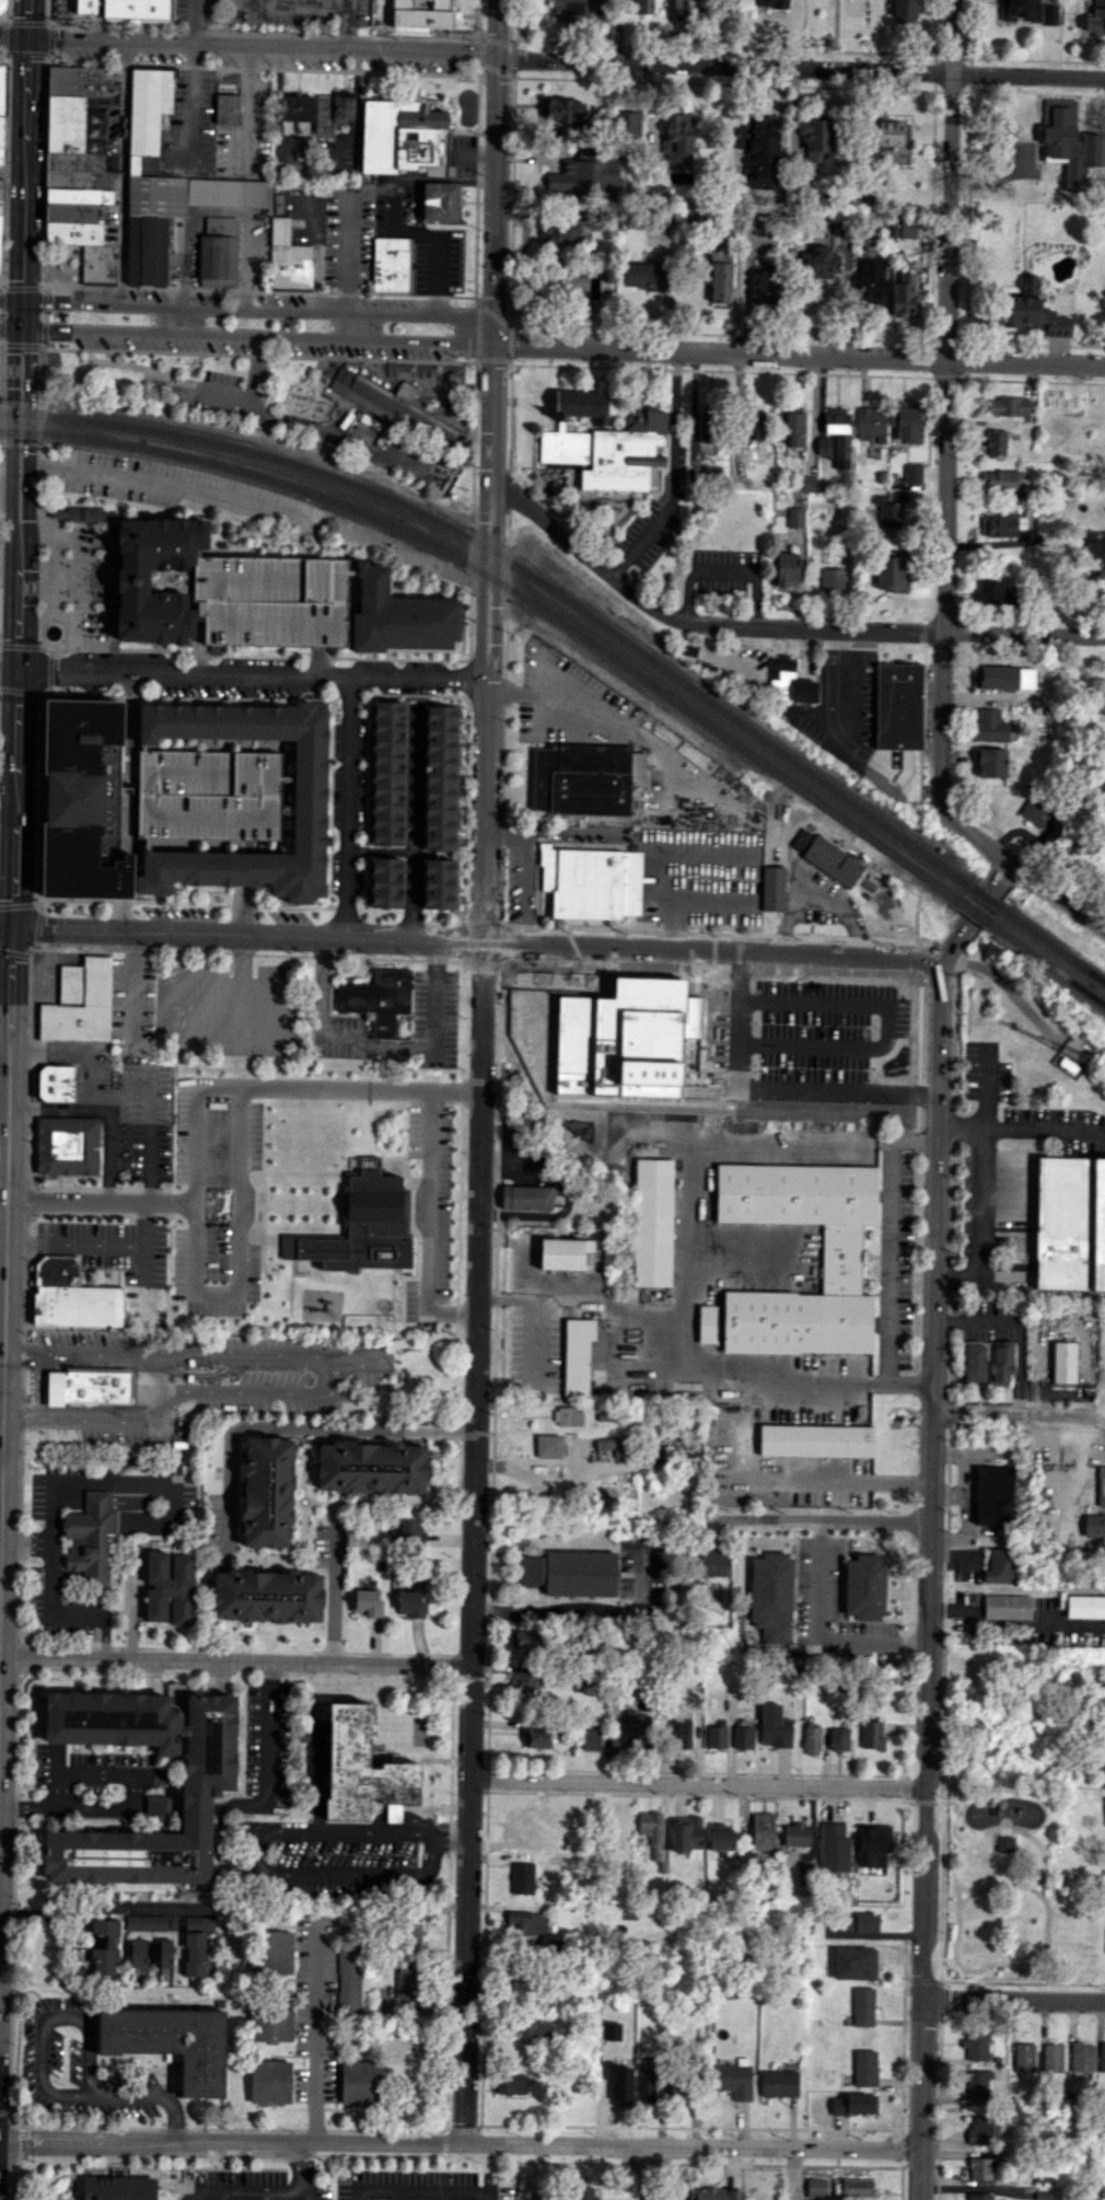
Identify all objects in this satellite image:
building: (766, 2)
building: (86, 7)
building: (640, 7)
building: (578, 8)
building: (138, 9)
building: (685, 9)
building: (2, 10)
parking lot: (278, 11)
building: (904, 11)
building: (1027, 11)
road: (9, 13)
building: (426, 14)
building: (1094, 20)
road: (194, 23)
road: (3, 24)
road: (345, 26)
road: (9, 37)
road: (13, 39)
traffic signals: (27, 40)
road: (9, 53)
road: (27, 53)
road: (3, 60)
road: (566, 60)
road: (372, 71)
building: (80, 80)
building: (1, 86)
road: (187, 105)
building: (342, 105)
building: (226, 107)
road: (245, 107)
building: (296, 107)
building: (146, 109)
building: (562, 111)
building: (323, 117)
building: (627, 121)
building: (75, 125)
parking lot: (185, 128)
building: (1, 130)
building: (893, 132)
parking lot: (246, 134)
building: (1057, 135)
building: (399, 136)
building: (678, 137)
building: (816, 139)
road: (24, 150)
building: (1, 154)
parking lot: (463, 154)
building: (760, 159)
building: (75, 162)
road: (5, 166)
road: (44, 167)
road: (497, 170)
road: (121, 174)
building: (584, 177)
building: (69, 178)
road: (952, 180)
building: (1, 188)
building: (74, 195)
building: (441, 200)
building: (1, 206)
road: (218, 209)
building: (71, 212)
building: (0, 222)
building: (761, 224)
building: (73, 233)
building: (563, 233)
building: (147, 250)
building: (220, 252)
building: (289, 258)
parking lot: (435, 258)
building: (98, 263)
building: (819, 263)
road: (61, 264)
building: (392, 264)
park: (60, 265)
road: (63, 266)
flagpole: (46, 267)
building: (642, 276)
building: (720, 277)
building: (870, 278)
road: (1, 279)
building: (764, 282)
building: (565, 283)
road: (22, 286)
road: (257, 290)
building: (905, 293)
road: (10, 302)
traffic signals: (22, 302)
road: (263, 309)
building: (1032, 311)
road: (4, 313)
road: (21, 316)
road: (178, 321)
building: (293, 324)
road: (357, 325)
road: (479, 327)
road: (10, 329)
traffic signals: (21, 331)
road: (39, 332)
road: (257, 335)
road: (1, 346)
road: (258, 354)
road: (799, 354)
road: (147, 366)
road: (193, 366)
road: (258, 367)
road: (2, 372)
road: (21, 372)
road: (166, 378)
road: (2, 396)
railway: (1, 404)
building: (1009, 406)
building: (403, 410)
road: (2, 413)
railway: (10, 413)
building: (907, 420)
building: (871, 422)
road: (300, 425)
parking lot: (311, 426)
building: (753, 427)
building: (792, 427)
building: (705, 429)
railway: (10, 430)
building: (838, 433)
road: (20, 440)
building: (604, 440)
building: (995, 442)
road: (492, 445)
building: (823, 445)
railway: (264, 453)
building: (911, 472)
road: (673, 474)
building: (1001, 479)
road: (161, 485)
parking lot: (179, 488)
road: (38, 505)
building: (886, 511)
building: (83, 513)
building: (794, 517)
building: (999, 525)
road: (586, 557)
road: (729, 566)
building: (787, 569)
building: (892, 574)
road: (77, 575)
building: (132, 580)
building: (992, 592)
road: (693, 594)
railway: (522, 595)
road: (760, 598)
building: (272, 600)
parking lot: (272, 600)
road: (0, 609)
building: (402, 618)
flagpole: (66, 624)
fountain: (53, 632)
road: (898, 632)
flagpole: (68, 633)
flagpole: (66, 640)
road: (23, 655)
road: (404, 658)
traffic signals: (18, 670)
road: (244, 673)
building: (993, 676)
road: (846, 680)
building: (789, 683)
road: (38, 688)
road: (563, 700)
building: (898, 706)
railway: (731, 717)
road: (130, 721)
building: (989, 726)
building: (990, 762)
building: (388, 773)
road: (8, 777)
building: (441, 777)
building: (586, 778)
building: (208, 795)
parking lot: (208, 795)
building: (310, 797)
road: (39, 798)
building: (78, 798)
road: (330, 806)
road: (347, 807)
building: (1035, 812)
road: (414, 825)
building: (831, 860)
building: (592, 880)
building: (386, 882)
building: (439, 885)
building: (772, 888)
railway: (985, 896)
road: (1056, 896)
railway: (973, 911)
road: (33, 925)
road: (5, 927)
traffic signals: (12, 927)
road: (475, 942)
railway: (1052, 945)
railway: (1046, 963)
building: (375, 995)
building: (80, 1003)
road: (10, 1006)
road: (4, 1043)
road: (381, 1045)
building: (56, 1082)
road: (283, 1089)
road: (775, 1090)
road: (113, 1095)
parking lot: (118, 1107)
building: (592, 1109)
road: (3, 1111)
road: (937, 1125)
road: (1016, 1128)
road: (32, 1132)
building: (67, 1145)
road: (109, 1148)
road: (690, 1151)
road: (78, 1174)
road: (987, 1184)
parking lot: (216, 1196)
building: (526, 1196)
road: (100, 1200)
parking lot: (429, 1206)
building: (652, 1221)
road: (144, 1224)
building: (1071, 1224)
building: (360, 1226)
road: (424, 1226)
road: (504, 1237)
road: (893, 1240)
road: (74, 1243)
building: (565, 1251)
road: (236, 1252)
road: (2, 1254)
building: (845, 1255)
parking lot: (117, 1258)
building: (57, 1270)
road: (144, 1278)
building: (181, 1281)
building: (251, 1289)
building: (78, 1306)
building: (201, 1307)
building: (229, 1308)
road: (628, 1320)
road: (538, 1345)
road: (477, 1346)
building: (577, 1356)
building: (974, 1362)
building: (1001, 1362)
building: (1062, 1363)
road: (335, 1375)
road: (912, 1383)
building: (88, 1386)
road: (1019, 1414)
building: (568, 1415)
road: (338, 1428)
road: (457, 1431)
building: (816, 1438)
building: (613, 1445)
building: (548, 1446)
road: (743, 1448)
road: (0, 1467)
building: (371, 1467)
road: (57, 1485)
building: (1101, 1485)
building: (268, 1491)
building: (993, 1494)
road: (824, 1520)
building: (1094, 1525)
building: (412, 1532)
building: (91, 1538)
building: (711, 1564)
building: (1000, 1565)
building: (571, 1572)
building: (170, 1587)
building: (864, 1587)
building: (267, 1596)
road: (334, 1596)
building: (771, 1596)
building: (368, 1597)
building: (410, 1603)
building: (1084, 1606)
building: (1007, 1607)
road: (582, 1608)
road: (51, 1610)
road: (1013, 1624)
road: (817, 1634)
road: (105, 1639)
building: (524, 1640)
road: (234, 1661)
building: (523, 1682)
building: (638, 1726)
building: (774, 1726)
building: (681, 1734)
building: (871, 1734)
building: (717, 1735)
road: (268, 1736)
building: (537, 1737)
building: (742, 1737)
building: (591, 1739)
building: (812, 1739)
building: (838, 1739)
building: (360, 1765)
road: (96, 1774)
building: (208, 1783)
road: (697, 1783)
road: (905, 1787)
road: (921, 1802)
road: (929, 1802)
road: (937, 1802)
road: (179, 1808)
road: (242, 1808)
road: (70, 1809)
building: (526, 1822)
road: (997, 1823)
building: (763, 1829)
building: (685, 1833)
building: (795, 1833)
road: (452, 1836)
building: (721, 1837)
building: (654, 1839)
building: (1003, 1843)
building: (872, 1845)
building: (834, 1848)
road: (248, 1852)
road: (1042, 1854)
road: (435, 1855)
building: (522, 1878)
road: (1035, 1890)
road: (957, 1892)
park: (1009, 1895)
road: (103, 1907)
building: (144, 1922)
building: (856, 1922)
building: (526, 1923)
building: (412, 1936)
building: (103, 1946)
building: (272, 1952)
building: (150, 1953)
building: (195, 1954)
road: (946, 1959)
building: (854, 1962)
road: (998, 1964)
road: (1039, 1970)
building: (405, 1978)
building: (349, 1979)
road: (1014, 2000)
building: (862, 2006)
parking lot: (315, 2008)
road: (42, 2017)
building: (271, 2019)
building: (530, 2027)
road: (317, 2030)
building: (172, 2042)
building: (975, 2046)
building: (1024, 2057)
building: (1051, 2057)
building: (1081, 2057)
building: (1102, 2057)
building: (865, 2068)
road: (922, 2069)
building: (732, 2080)
building: (270, 2081)
building: (358, 2083)
building: (510, 2083)
building: (778, 2083)
building: (976, 2084)
building: (645, 2089)
road: (150, 2095)
building: (616, 2095)
building: (854, 2104)
building: (982, 2130)
road: (460, 2142)
building: (979, 2168)
road: (305, 2170)
road: (648, 2174)
parking lot: (419, 2185)
parking lot: (252, 2186)
building: (120, 2187)
building: (816, 2187)
building: (857, 2187)
road: (399, 2190)
road: (245, 2191)
road: (470, 2192)
building: (583, 2192)
building: (716, 2193)
road: (220, 2196)
road: (265, 2196)
building: (979, 2196)
building: (537, 2197)

